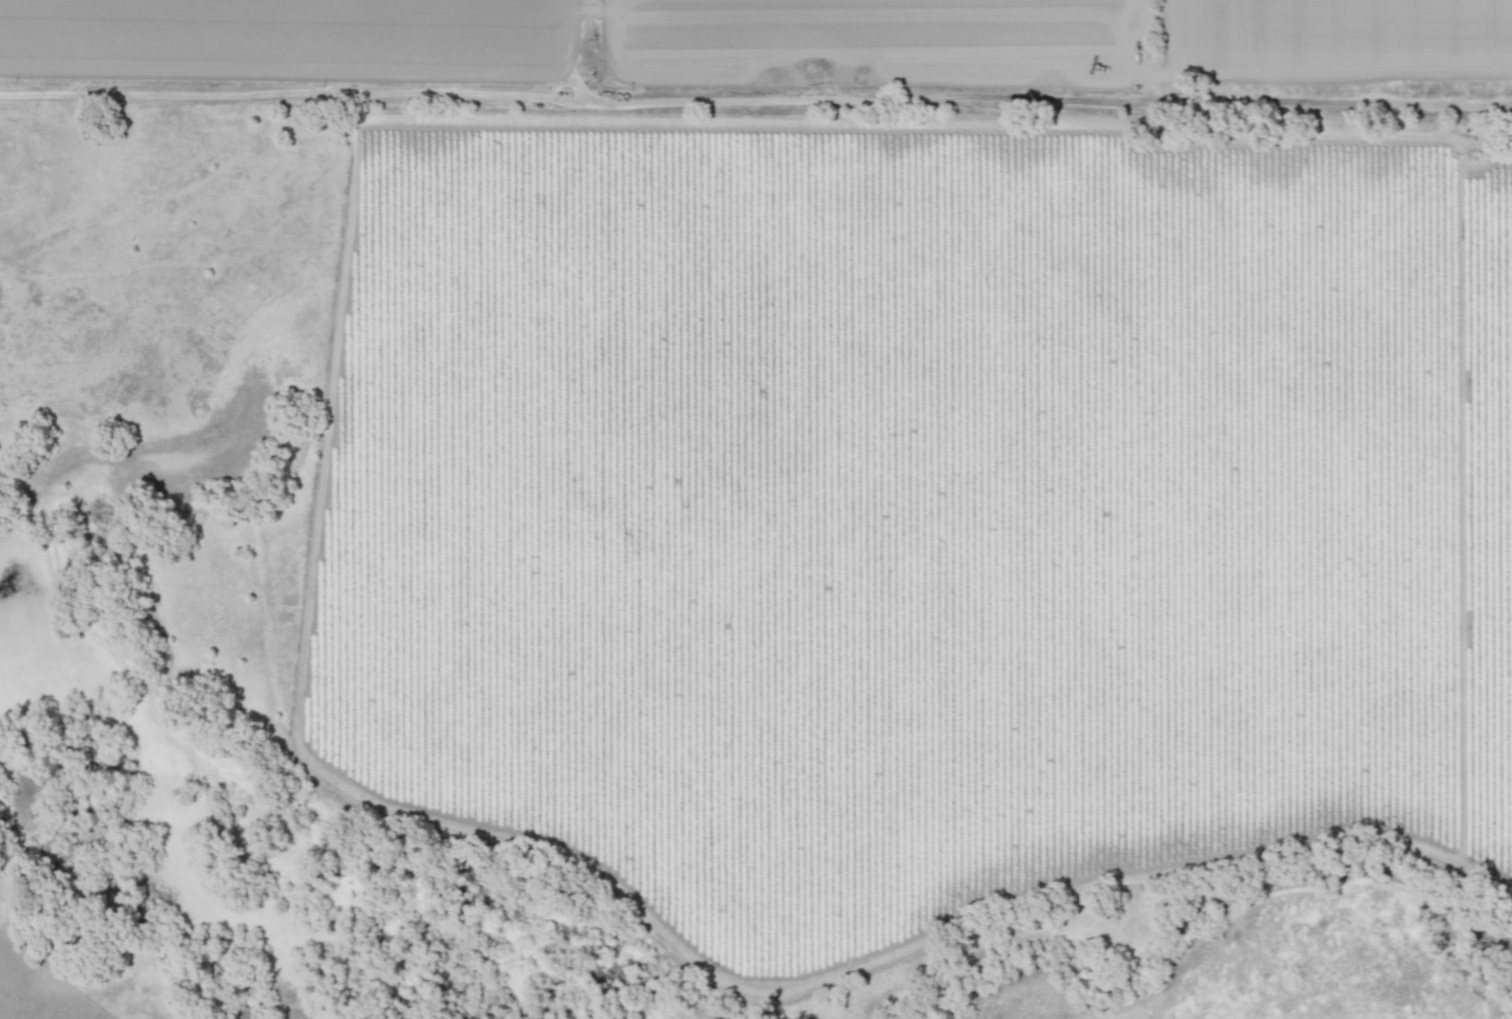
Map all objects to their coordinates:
crop: (900, 424)

